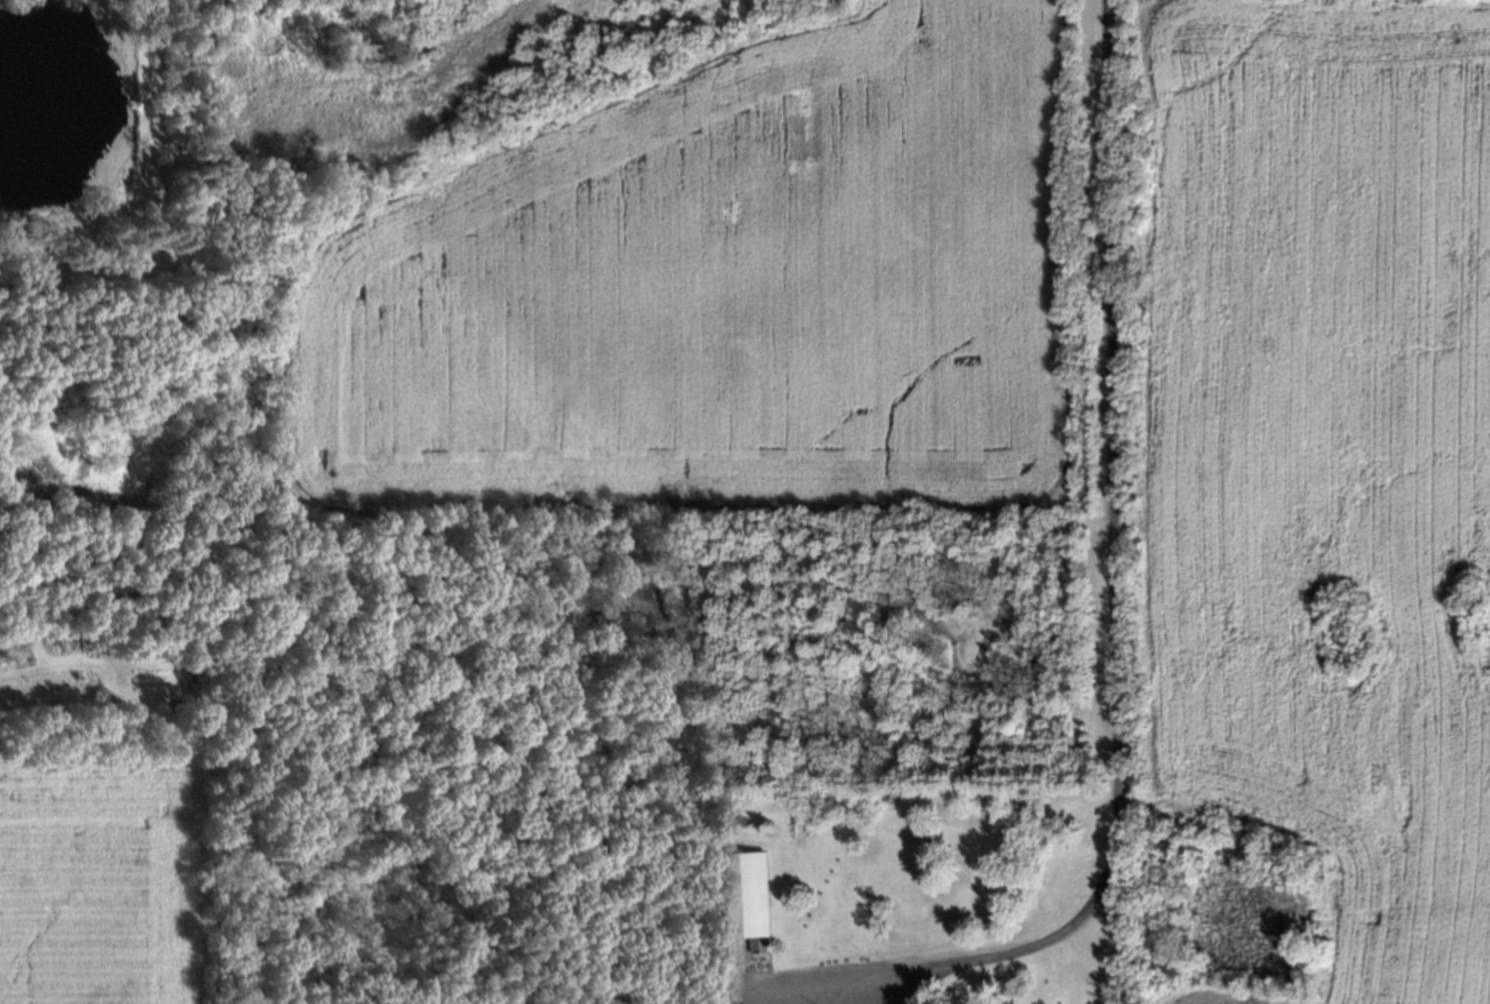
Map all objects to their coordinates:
road: (1112, 644)
building: (741, 893)

